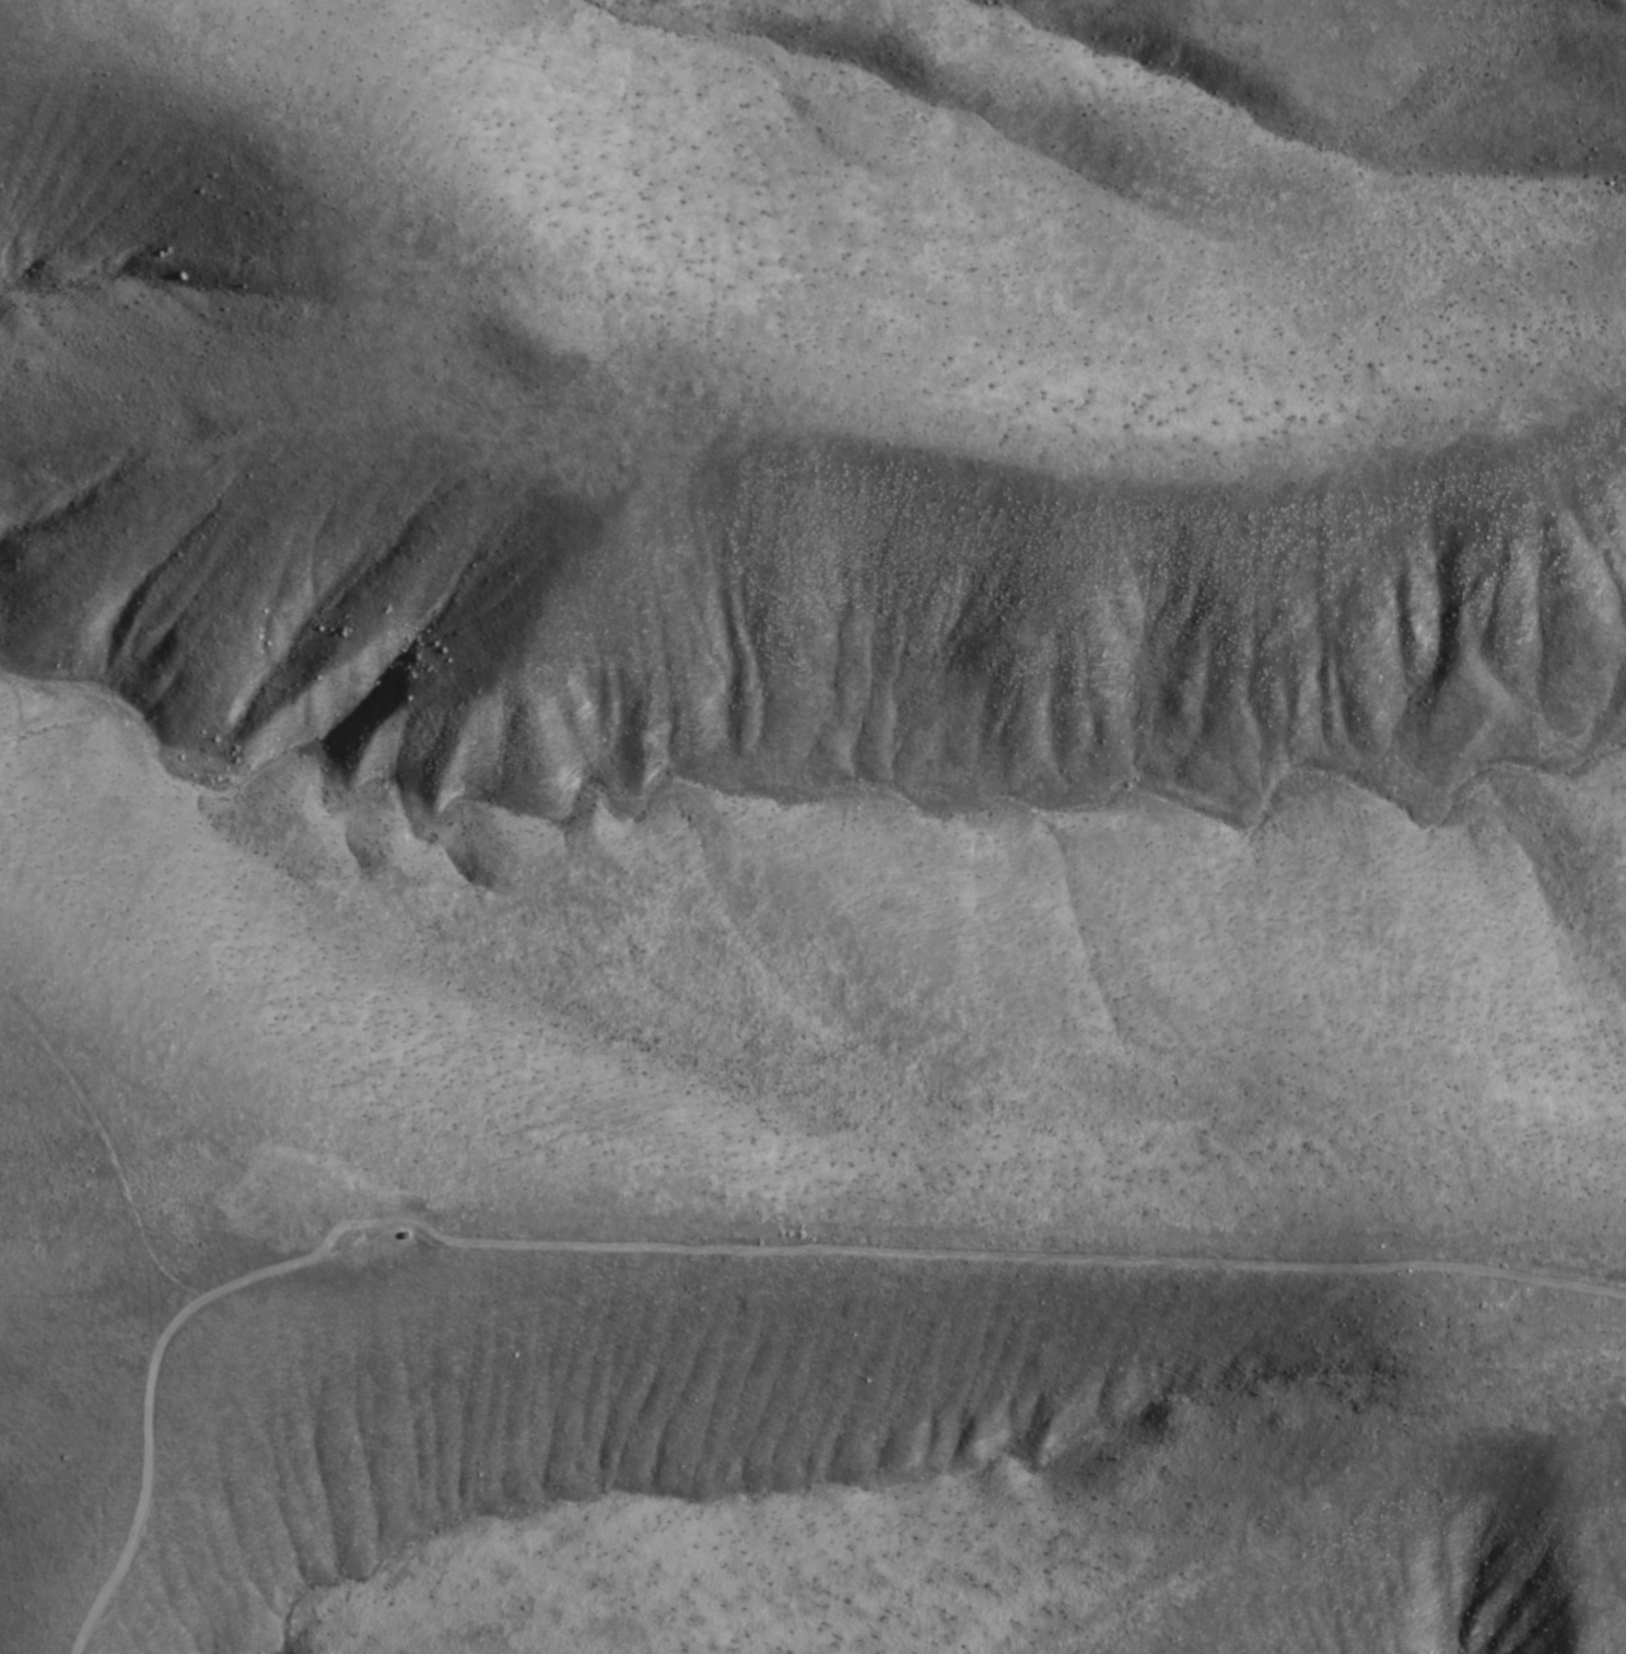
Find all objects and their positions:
railway: (208, 1546)
railway: (189, 1556)

